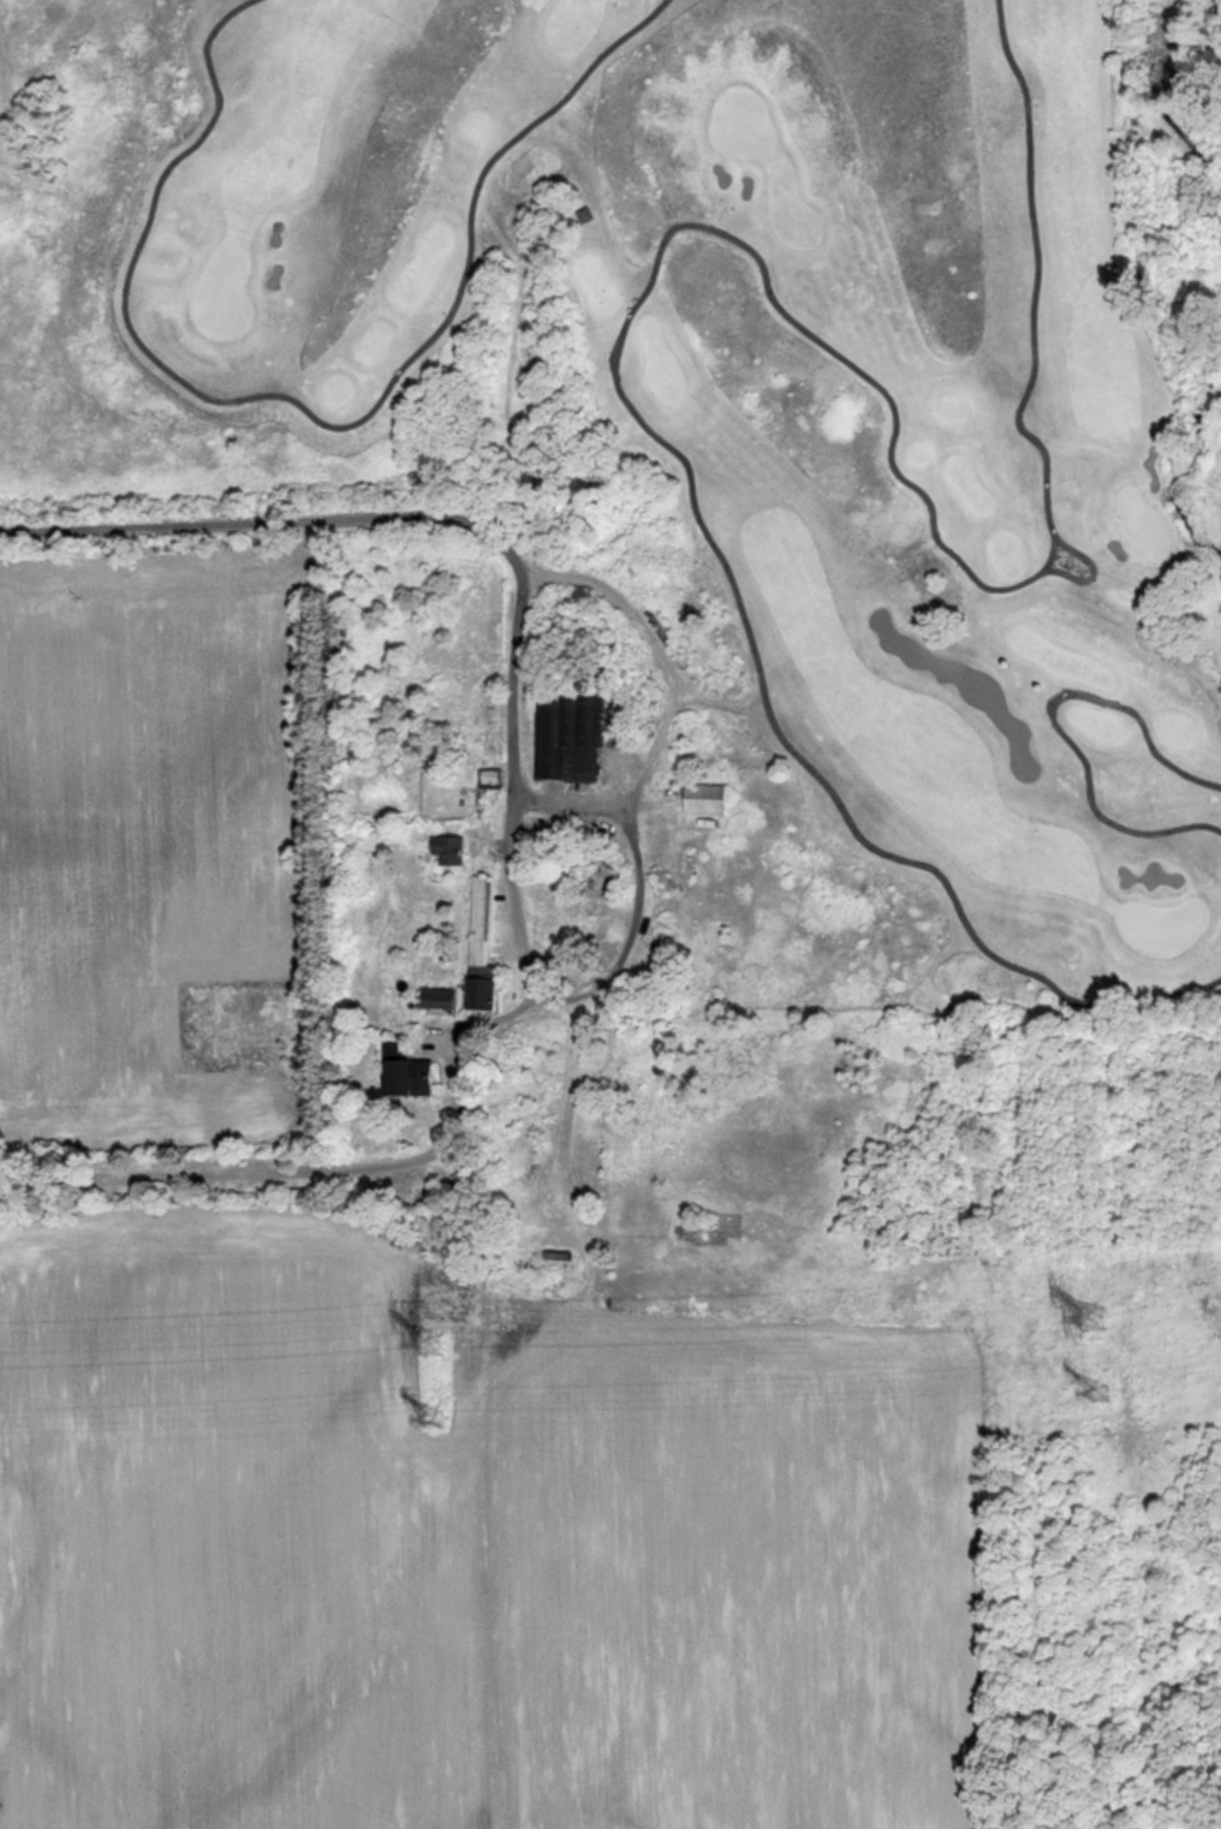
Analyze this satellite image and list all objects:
road: (699, 231)
park: (761, 407)
road: (308, 413)
road: (267, 522)
road: (1061, 726)
building: (568, 737)
building: (704, 798)
building: (448, 850)
building: (481, 941)
road: (607, 972)
building: (436, 997)
building: (409, 1077)
road: (324, 1168)
power tower: (1094, 1319)
power tower: (434, 1344)
power tower: (1100, 1393)
power tower: (435, 1416)

